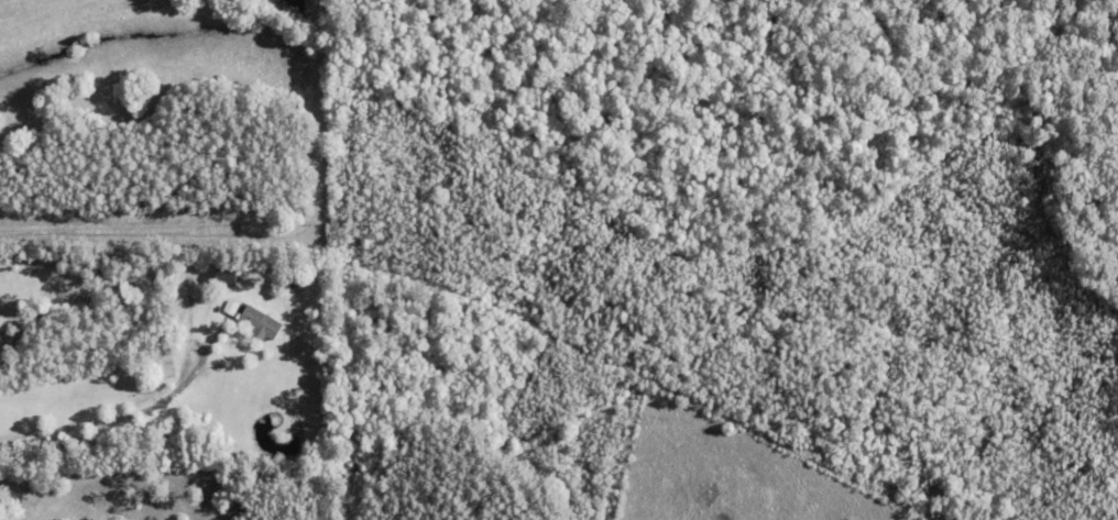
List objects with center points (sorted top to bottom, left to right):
building: (227, 278)
building: (231, 308)
building: (260, 324)
road: (119, 419)

